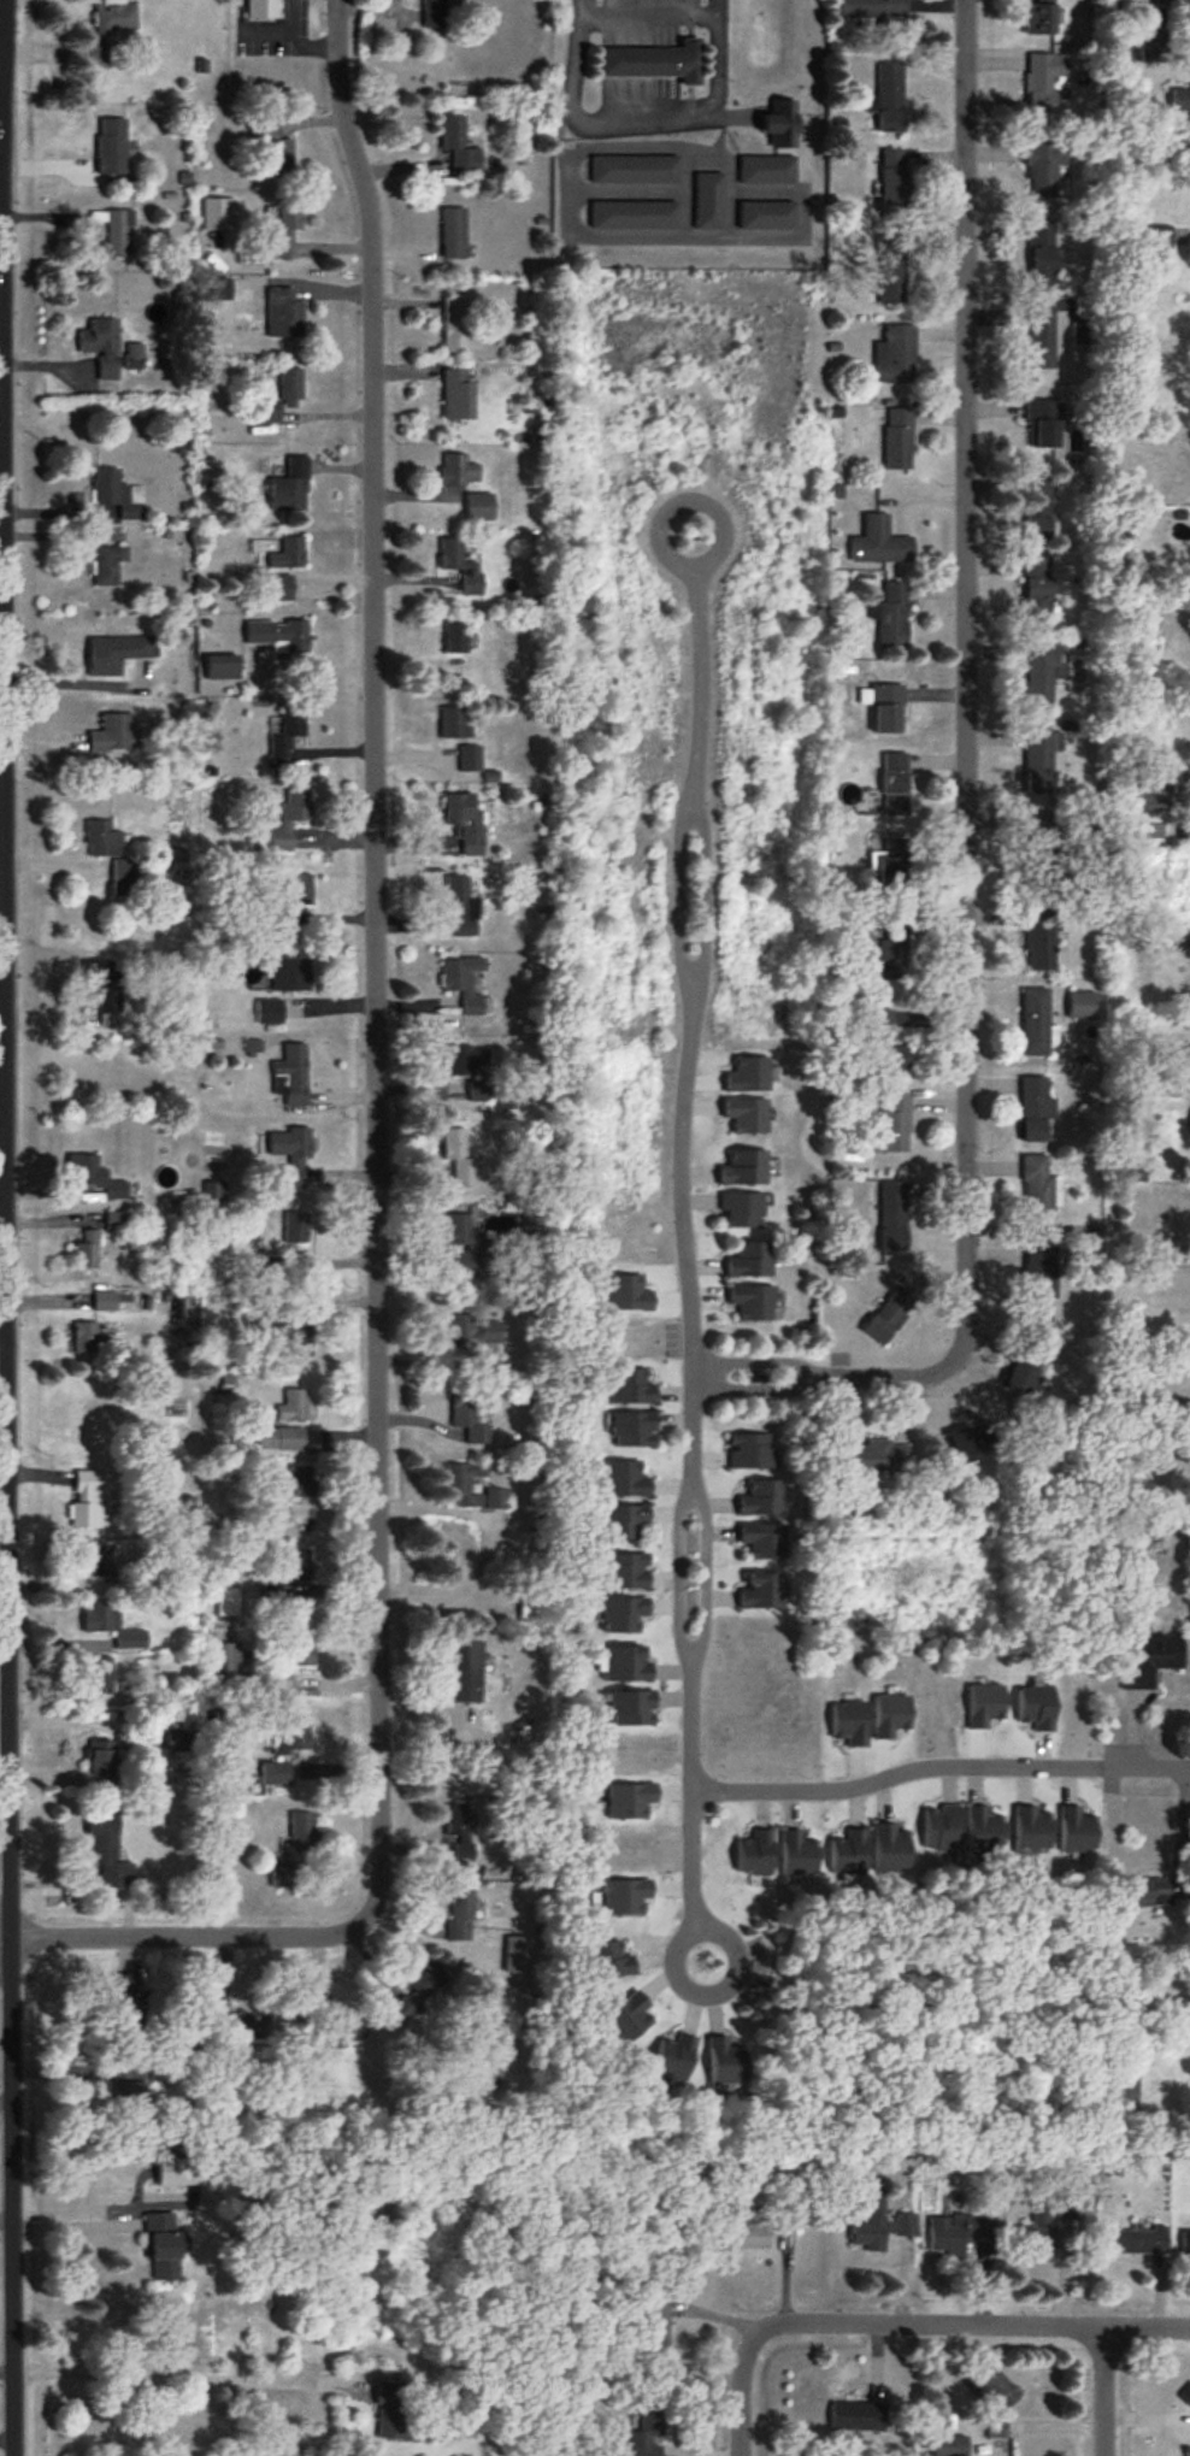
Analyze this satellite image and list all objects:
building: (261, 5)
building: (870, 8)
building: (430, 13)
building: (1039, 18)
building: (108, 31)
building: (1153, 36)
building: (649, 63)
building: (1044, 81)
building: (888, 98)
building: (1180, 101)
building: (782, 125)
building: (111, 146)
building: (459, 146)
building: (276, 148)
building: (635, 170)
building: (767, 170)
building: (1042, 171)
building: (895, 181)
building: (708, 201)
building: (635, 216)
building: (767, 216)
building: (285, 229)
building: (114, 231)
building: (454, 234)
building: (1156, 238)
building: (1042, 257)
building: (891, 271)
building: (284, 313)
building: (455, 324)
building: (1041, 340)
building: (101, 347)
building: (895, 354)
building: (134, 357)
building: (458, 395)
building: (283, 397)
building: (1043, 425)
building: (899, 438)
building: (458, 471)
building: (290, 487)
building: (114, 495)
building: (481, 507)
building: (1039, 508)
building: (880, 543)
building: (288, 555)
building: (108, 566)
building: (461, 567)
building: (1037, 588)
building: (891, 618)
building: (278, 636)
building: (455, 638)
building: (113, 654)
road: (697, 673)
building: (1039, 676)
building: (885, 708)
building: (454, 724)
building: (288, 731)
building: (112, 735)
road: (962, 754)
building: (470, 760)
building: (1039, 762)
building: (895, 785)
building: (1154, 794)
building: (290, 820)
building: (466, 823)
building: (101, 841)
building: (890, 868)
building: (123, 879)
building: (296, 890)
road: (676, 903)
road: (701, 903)
building: (460, 907)
building: (1039, 942)
building: (890, 956)
road: (378, 959)
building: (290, 976)
building: (464, 985)
building: (104, 990)
building: (1083, 1007)
building: (269, 1012)
building: (1036, 1023)
building: (884, 1044)
building: (458, 1061)
building: (293, 1074)
building: (1035, 1109)
building: (890, 1125)
building: (290, 1148)
building: (458, 1158)
building: (96, 1178)
building: (1038, 1188)
building: (741, 1209)
building: (892, 1215)
building: (116, 1220)
road: (7, 1227)
road: (687, 1242)
building: (86, 1250)
building: (465, 1250)
building: (749, 1259)
building: (1041, 1271)
building: (105, 1301)
building: (752, 1302)
building: (888, 1317)
building: (472, 1333)
building: (88, 1338)
building: (294, 1338)
road: (753, 1366)
building: (1021, 1368)
building: (630, 1386)
road: (754, 1389)
building: (295, 1406)
building: (466, 1412)
building: (634, 1430)
building: (279, 1438)
building: (966, 1445)
building: (749, 1450)
building: (873, 1457)
building: (625, 1479)
building: (291, 1483)
building: (460, 1483)
building: (761, 1497)
building: (87, 1500)
building: (276, 1514)
building: (621, 1521)
building: (762, 1541)
building: (99, 1562)
road: (700, 1569)
road: (678, 1571)
building: (625, 1572)
building: (289, 1577)
building: (761, 1591)
building: (623, 1615)
building: (111, 1626)
building: (299, 1650)
building: (1150, 1660)
building: (224, 1665)
building: (628, 1665)
building: (463, 1671)
building: (99, 1674)
building: (282, 1689)
building: (1036, 1707)
building: (632, 1708)
road: (691, 1721)
building: (850, 1722)
building: (293, 1737)
building: (101, 1763)
road: (938, 1766)
building: (275, 1773)
building: (1031, 1830)
building: (459, 1831)
building: (942, 1831)
building: (984, 1831)
building: (1077, 1831)
building: (301, 1832)
building: (891, 1849)
building: (107, 1850)
building: (849, 1853)
building: (756, 1854)
building: (799, 1855)
building: (282, 1873)
road: (693, 1874)
building: (1148, 1892)
building: (460, 1915)
road: (184, 1937)
building: (608, 1961)
building: (422, 1987)
building: (130, 2003)
building: (624, 2021)
building: (237, 2026)
building: (332, 2039)
building: (676, 2057)
building: (726, 2062)
building: (1121, 2090)
building: (130, 2096)
building: (879, 2227)
building: (1037, 2228)
building: (959, 2234)
building: (1135, 2242)
building: (1185, 2243)
building: (165, 2246)
building: (648, 2321)
road: (973, 2324)
road: (165, 2377)
building: (994, 2386)
road: (738, 2391)
road: (1100, 2391)
building: (1186, 2395)
building: (397, 2411)
building: (856, 2416)
building: (646, 2430)
building: (949, 2446)

